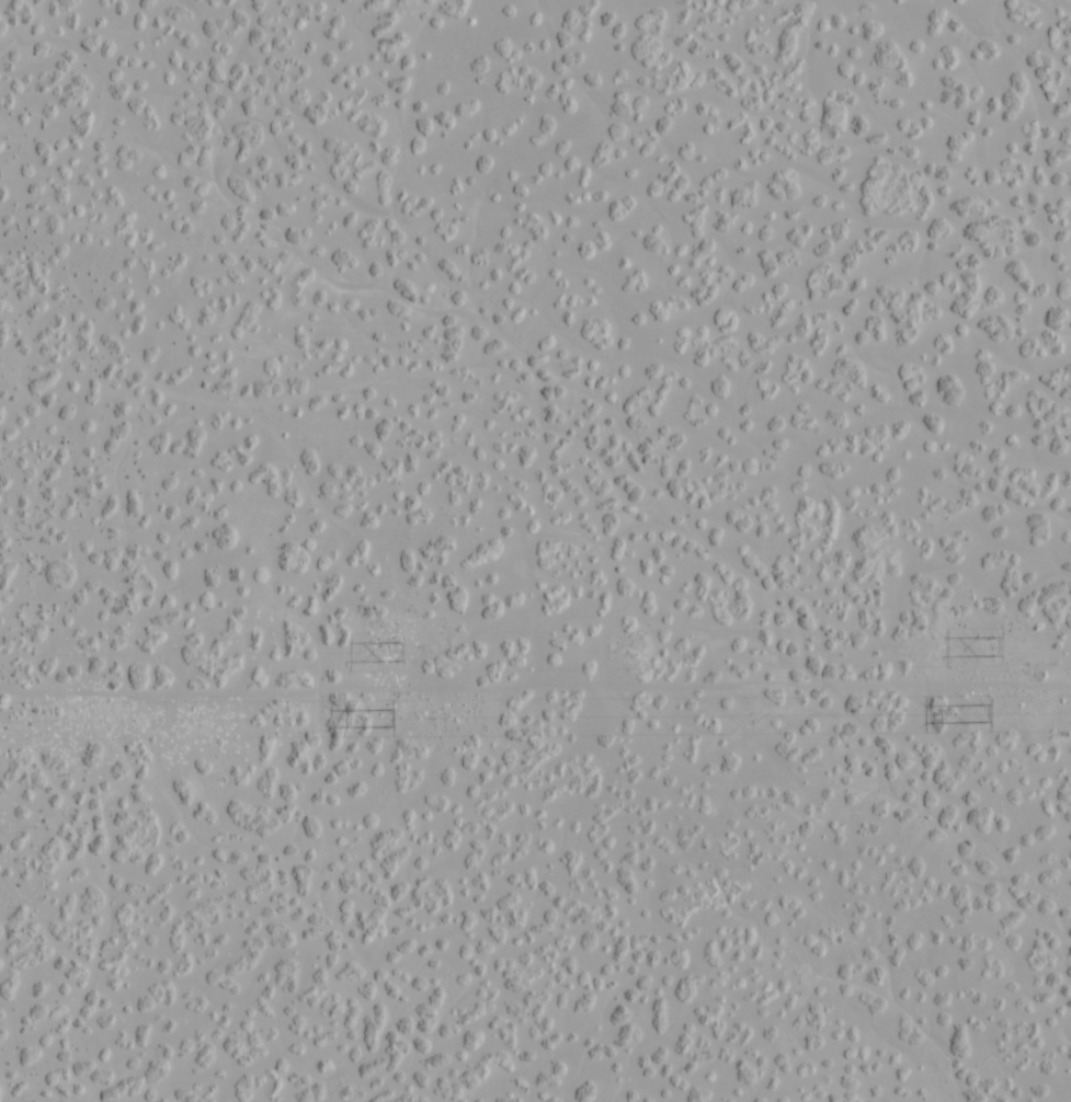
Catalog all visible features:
power tower: (980, 645)
power tower: (384, 652)
power tower: (979, 710)
power tower: (387, 716)

